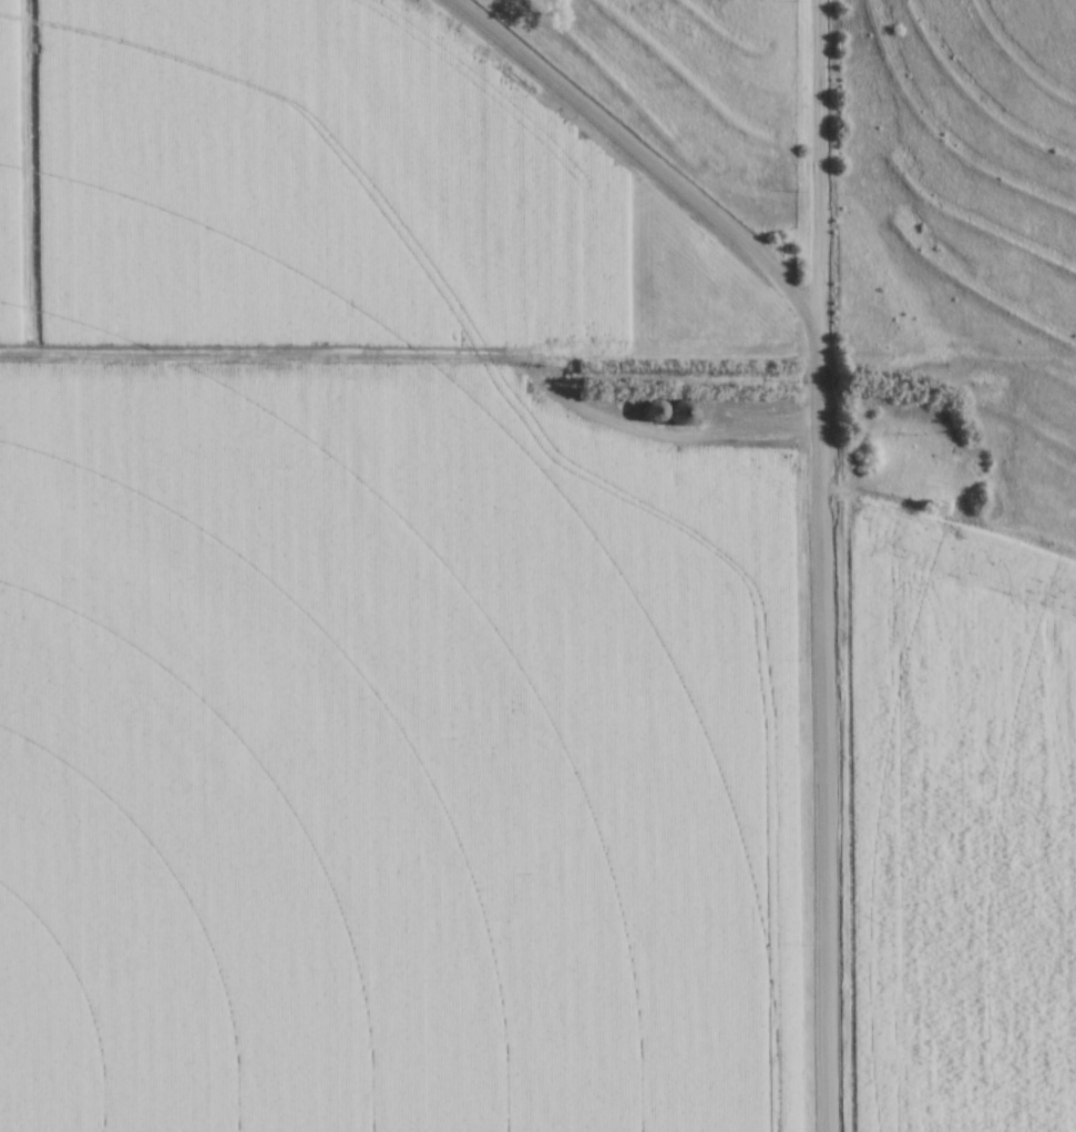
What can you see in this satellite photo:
road: (645, 157)
crop: (301, 181)
road: (417, 366)
silo: (655, 411)
silo: (685, 415)
building: (682, 416)
road: (822, 565)
crop: (390, 765)
crop: (963, 825)

